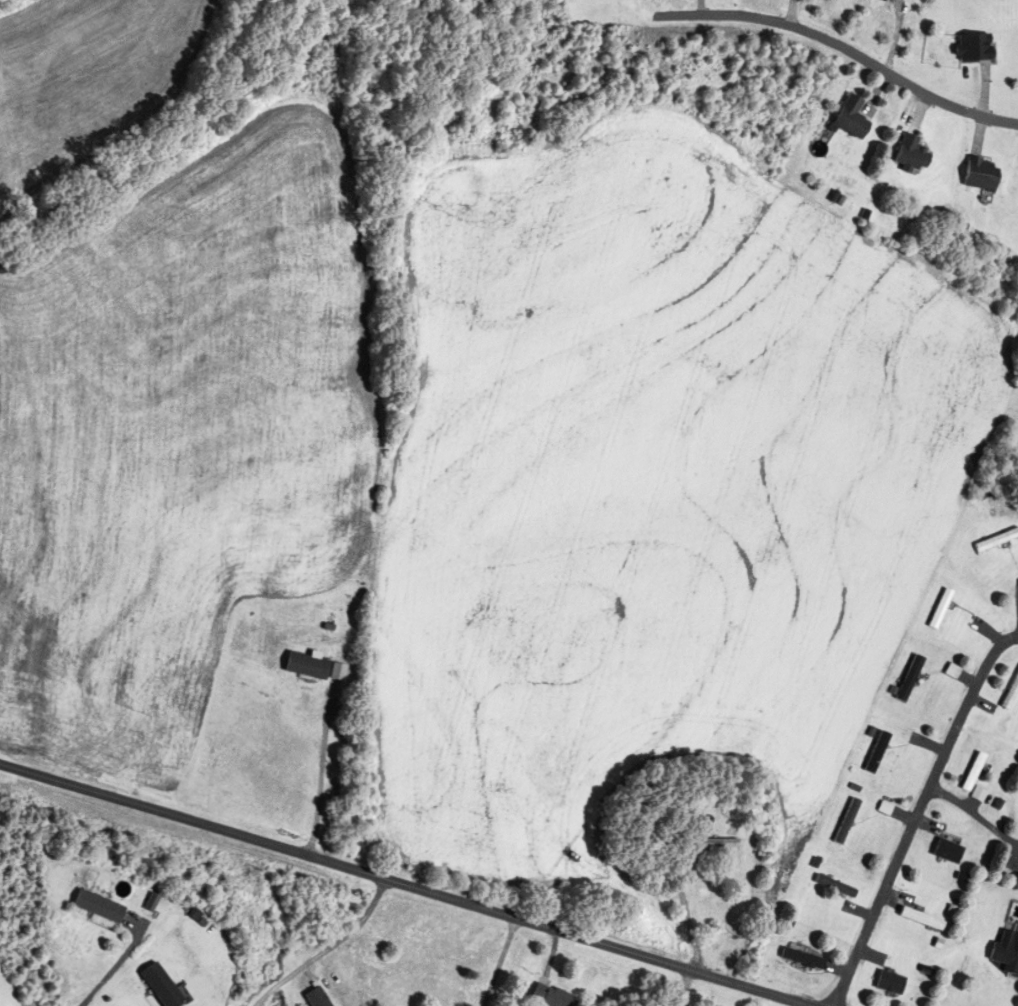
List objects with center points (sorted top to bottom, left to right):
road: (847, 45)
building: (970, 46)
crop: (86, 68)
building: (848, 117)
building: (908, 154)
building: (977, 173)
crop: (475, 497)
building: (995, 540)
building: (938, 609)
building: (874, 752)
road: (329, 770)
building: (971, 772)
building: (977, 794)
road: (976, 814)
road: (919, 817)
building: (844, 821)
building: (711, 843)
building: (947, 853)
building: (832, 886)
road: (404, 888)
building: (95, 907)
road: (683, 907)
building: (919, 919)
road: (326, 949)
building: (1005, 952)
building: (800, 959)
road: (500, 962)
road: (114, 966)
building: (888, 983)
building: (158, 986)
building: (547, 996)
building: (315, 997)

